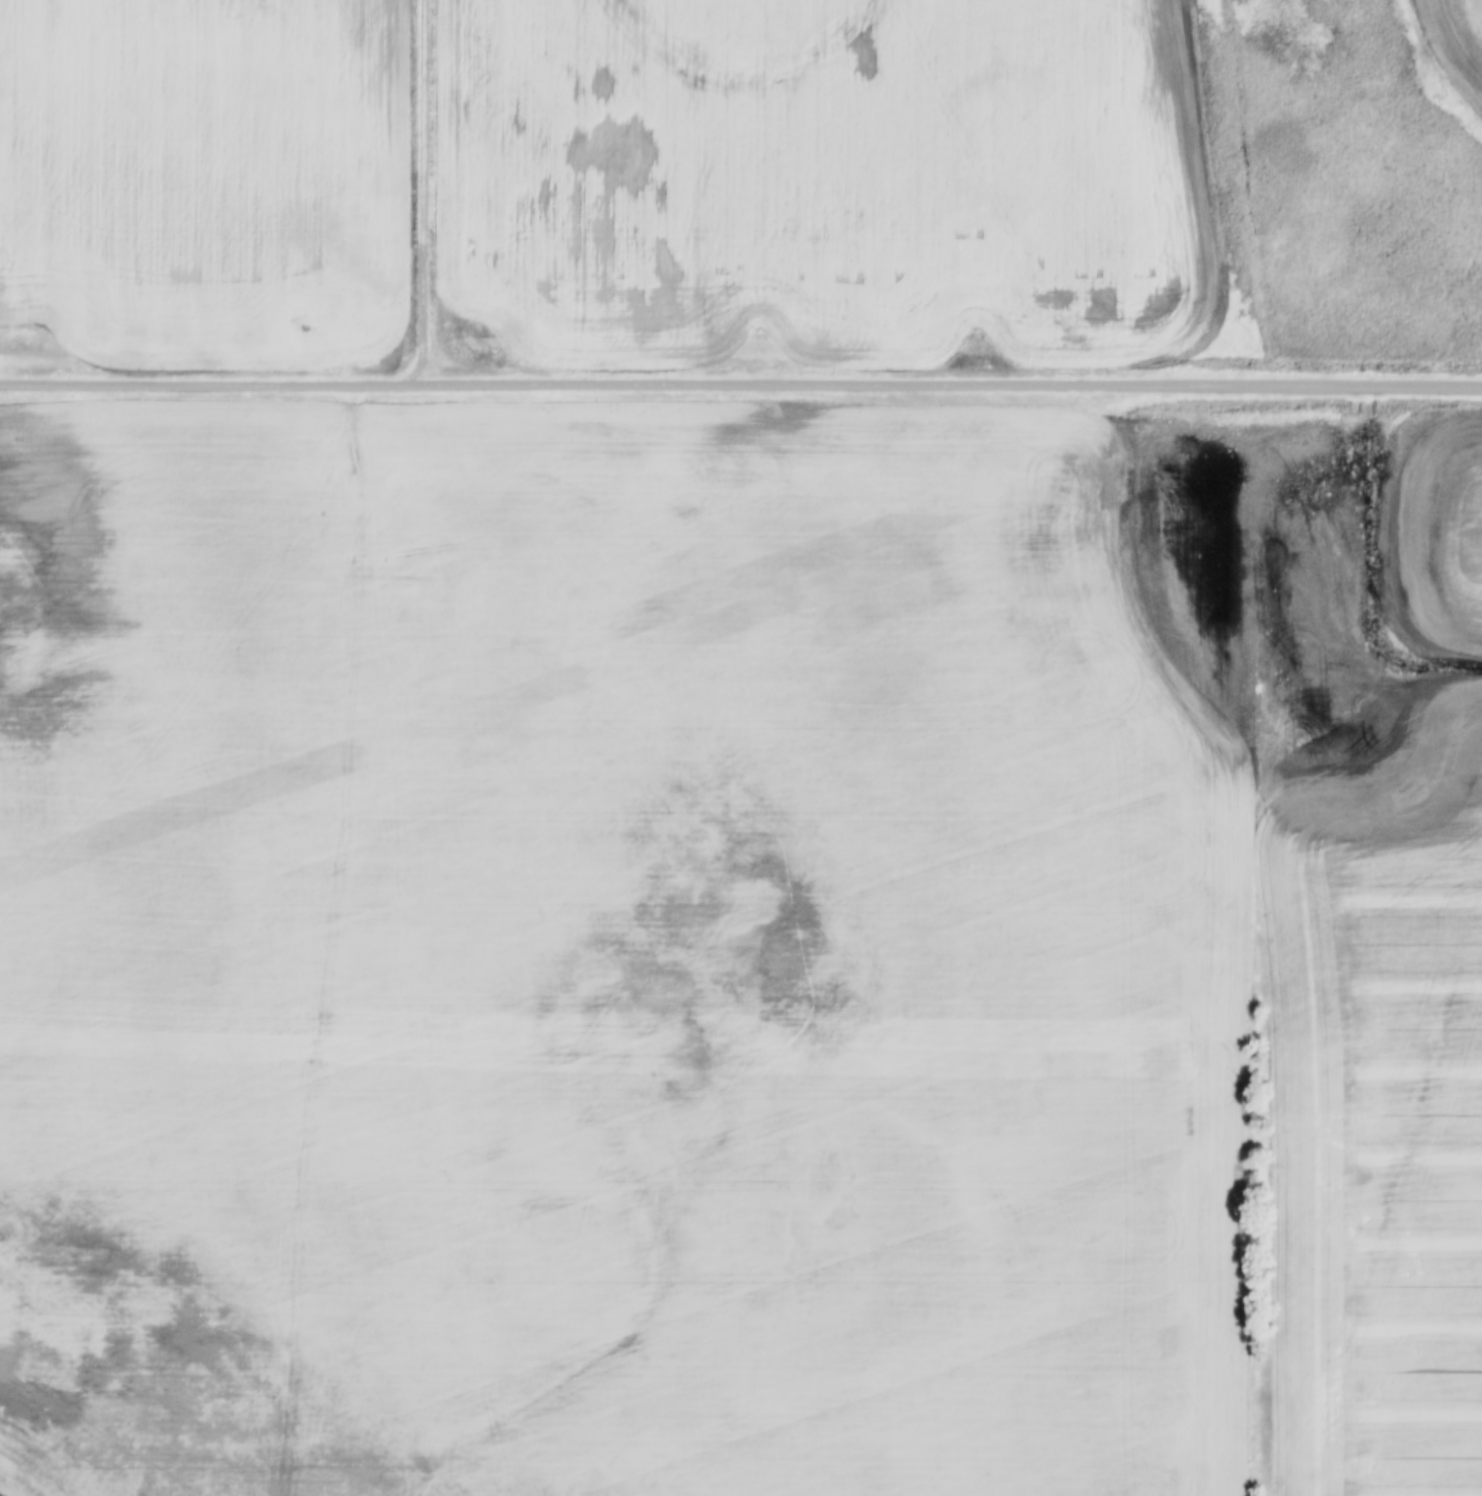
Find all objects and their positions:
road: (419, 189)
road: (741, 379)

